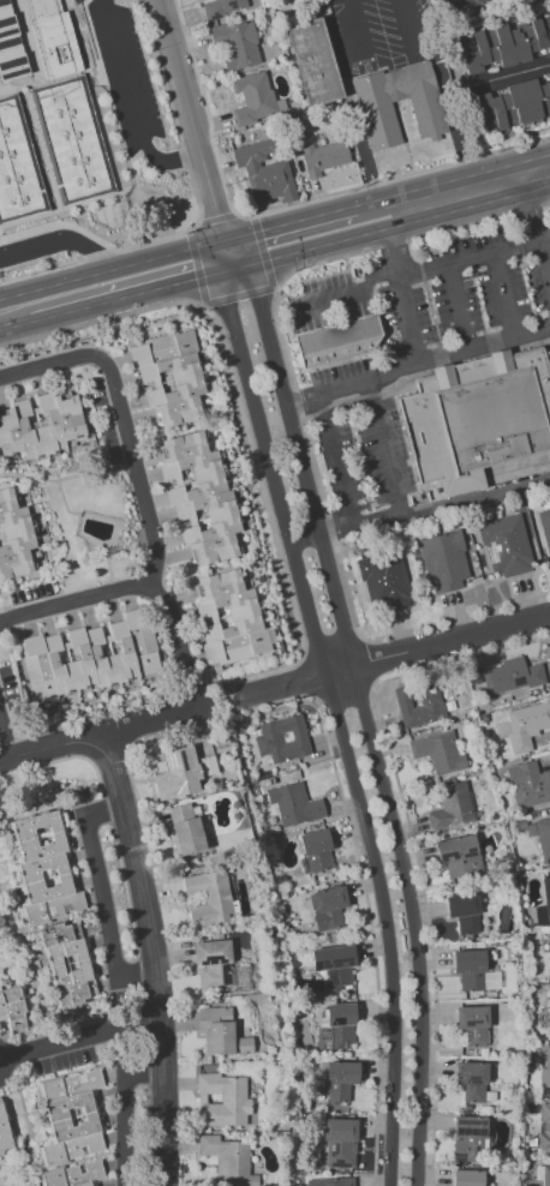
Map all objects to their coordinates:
road: (348, 1)
building: (466, 6)
building: (222, 7)
building: (53, 36)
building: (11, 43)
building: (237, 43)
building: (504, 43)
building: (313, 61)
parking lot: (126, 72)
road: (513, 74)
road: (443, 91)
building: (255, 98)
road: (349, 101)
road: (136, 102)
building: (513, 104)
road: (207, 115)
building: (376, 116)
road: (193, 119)
road: (119, 131)
building: (72, 138)
building: (322, 157)
building: (18, 164)
building: (264, 172)
road: (400, 175)
road: (479, 187)
road: (382, 197)
road: (199, 211)
road: (216, 217)
road: (289, 221)
road: (60, 223)
road: (534, 227)
traffic signals: (226, 238)
road: (408, 238)
road: (59, 240)
road: (335, 241)
road: (147, 259)
traffic signals: (253, 265)
road: (426, 272)
traffic signals: (221, 274)
road: (167, 286)
road: (405, 292)
road: (506, 295)
road: (239, 296)
road: (54, 305)
road: (458, 307)
road: (13, 315)
building: (337, 343)
parking lot: (418, 347)
road: (416, 359)
building: (548, 359)
building: (169, 376)
road: (243, 417)
building: (477, 418)
building: (41, 425)
road: (388, 450)
road: (340, 462)
road: (141, 484)
building: (199, 497)
road: (418, 511)
building: (545, 528)
building: (14, 537)
building: (506, 545)
road: (336, 557)
building: (443, 562)
building: (383, 580)
road: (76, 603)
building: (228, 618)
road: (361, 637)
road: (549, 640)
road: (396, 654)
building: (89, 657)
building: (510, 676)
building: (429, 696)
road: (361, 702)
road: (335, 707)
building: (524, 725)
road: (5, 736)
road: (98, 736)
building: (282, 738)
building: (438, 751)
building: (207, 765)
building: (177, 773)
building: (528, 784)
building: (294, 804)
building: (452, 807)
building: (185, 829)
building: (543, 837)
road: (412, 844)
building: (316, 850)
building: (459, 855)
building: (46, 867)
building: (546, 892)
road: (102, 896)
building: (209, 898)
building: (328, 908)
road: (367, 912)
building: (464, 912)
building: (549, 951)
road: (153, 958)
building: (67, 963)
building: (211, 963)
building: (334, 964)
building: (470, 969)
building: (12, 1007)
building: (549, 1008)
building: (473, 1024)
building: (336, 1028)
building: (220, 1032)
road: (83, 1037)
road: (2, 1054)
road: (2, 1067)
building: (545, 1070)
building: (340, 1079)
building: (472, 1080)
building: (222, 1100)
road: (124, 1110)
building: (544, 1127)
building: (4, 1131)
building: (468, 1138)
building: (339, 1142)
building: (228, 1160)
building: (73, 1175)
building: (545, 1175)
building: (467, 1178)

